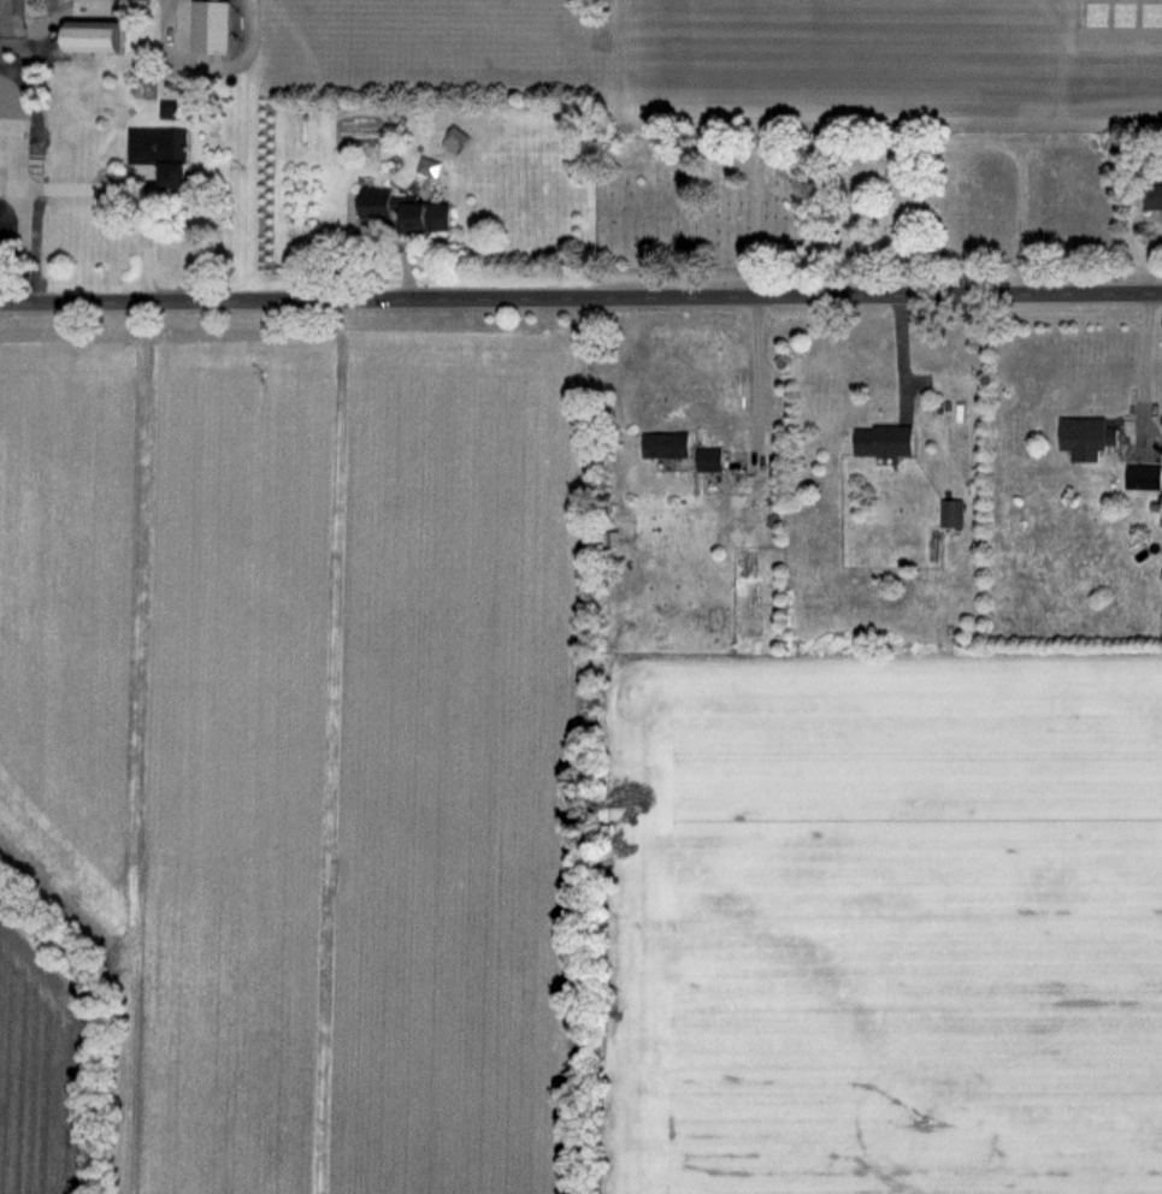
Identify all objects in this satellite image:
building: (138, 6)
building: (218, 25)
building: (101, 36)
building: (169, 153)
park: (737, 194)
building: (1157, 195)
building: (381, 200)
building: (430, 215)
road: (144, 236)
road: (28, 238)
road: (580, 301)
road: (1144, 367)
road: (755, 379)
building: (1084, 435)
building: (893, 438)
building: (670, 449)
building: (715, 460)
building: (1143, 472)
building: (957, 513)
building: (713, 619)

